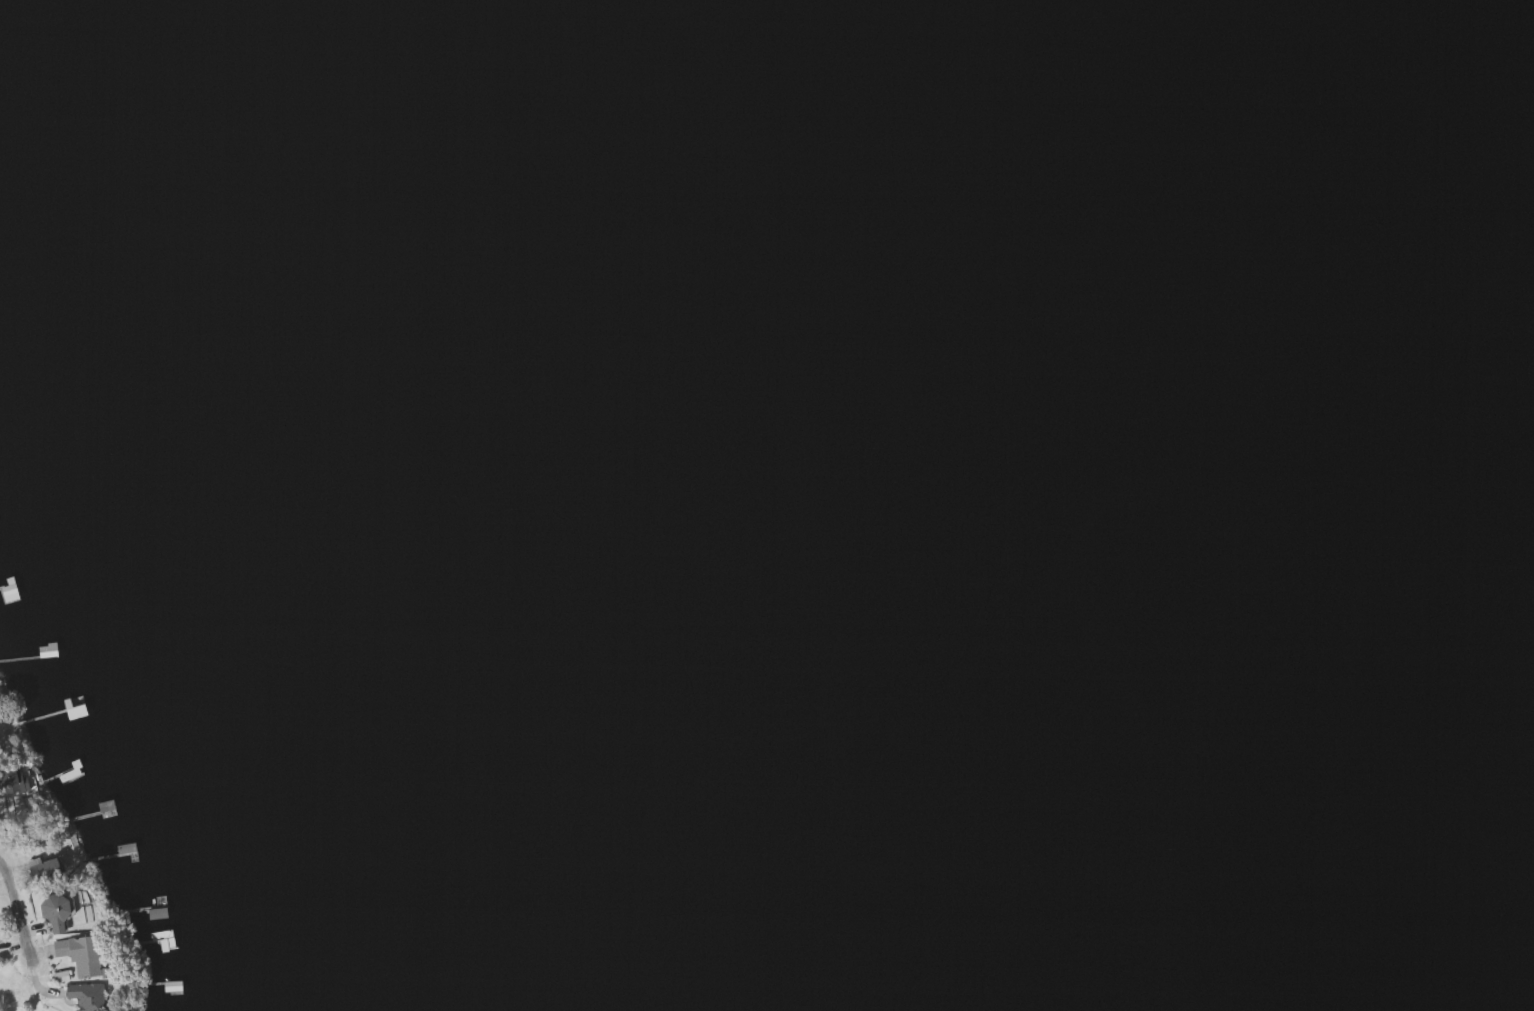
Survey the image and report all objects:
river: (1111, 499)
building: (72, 708)
building: (42, 870)
road: (17, 911)
building: (54, 913)
building: (160, 935)
building: (78, 955)
building: (84, 996)

